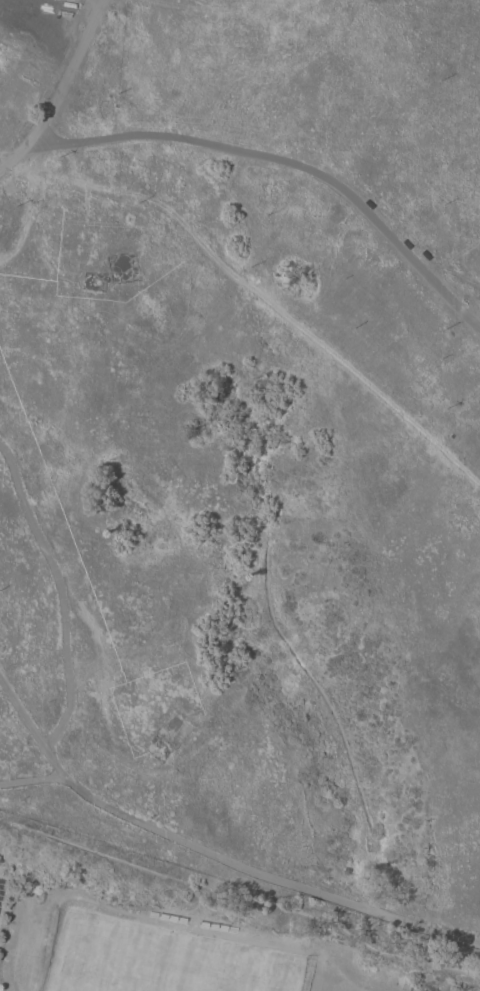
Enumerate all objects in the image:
road: (58, 89)
road: (283, 158)
building: (3, 801)
building: (167, 848)
road: (211, 852)
parking lot: (3, 878)
park: (156, 960)

